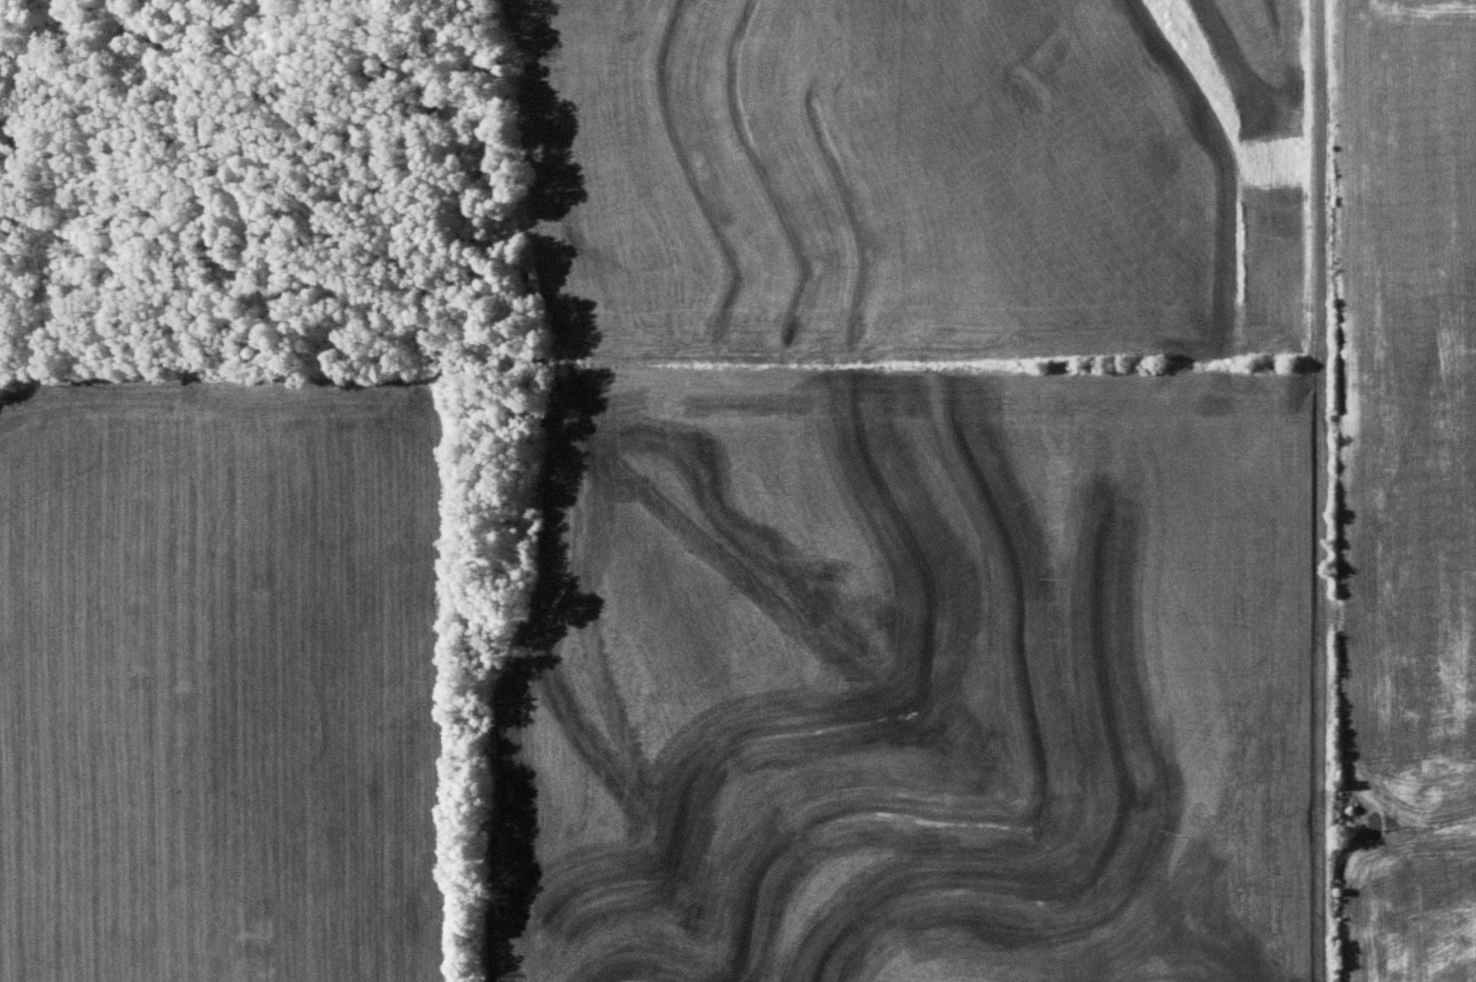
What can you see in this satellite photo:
crop: (1408, 486)
road: (1319, 490)

